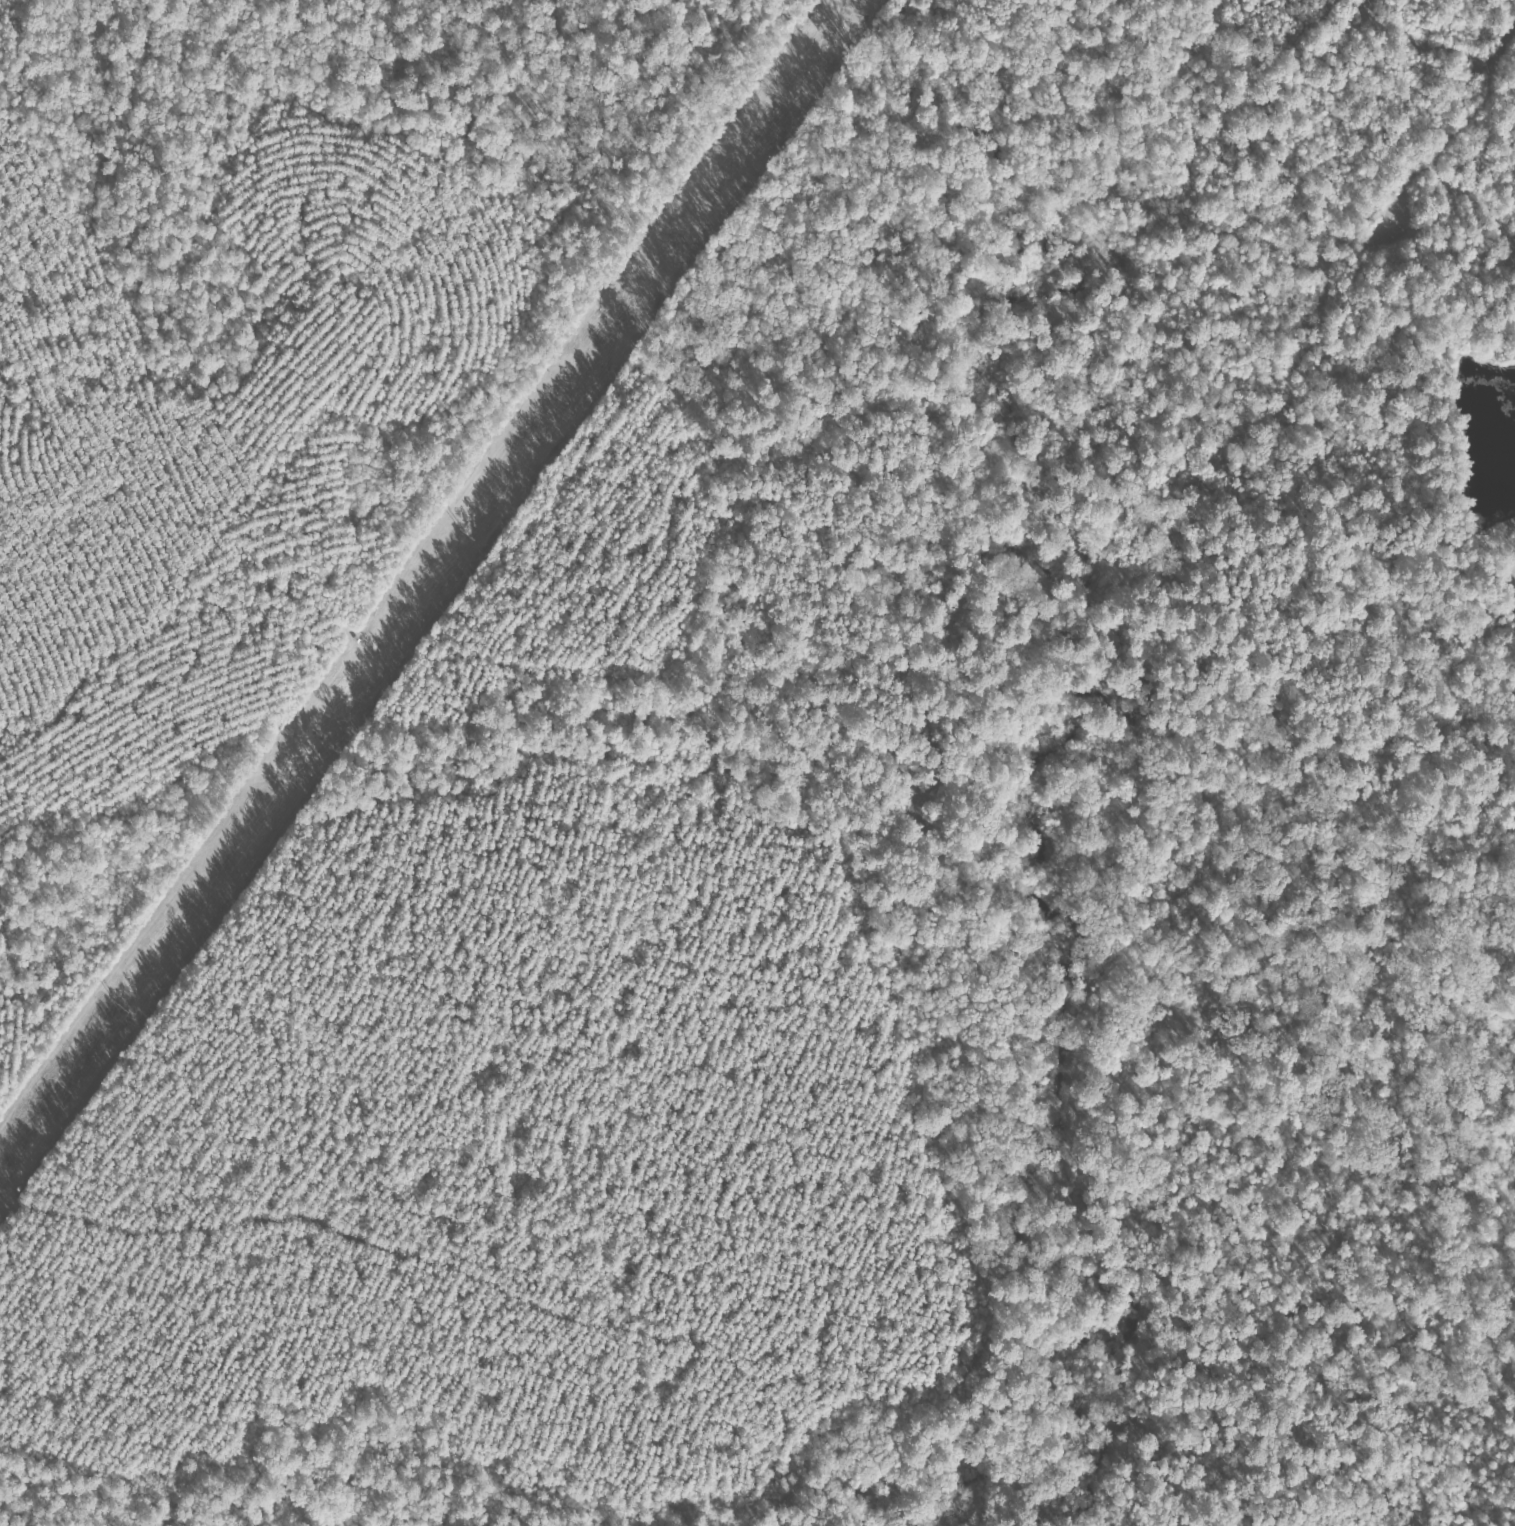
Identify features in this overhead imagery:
power tower: (713, 188)
power tower: (462, 532)
power tower: (316, 733)
power tower: (117, 1005)

